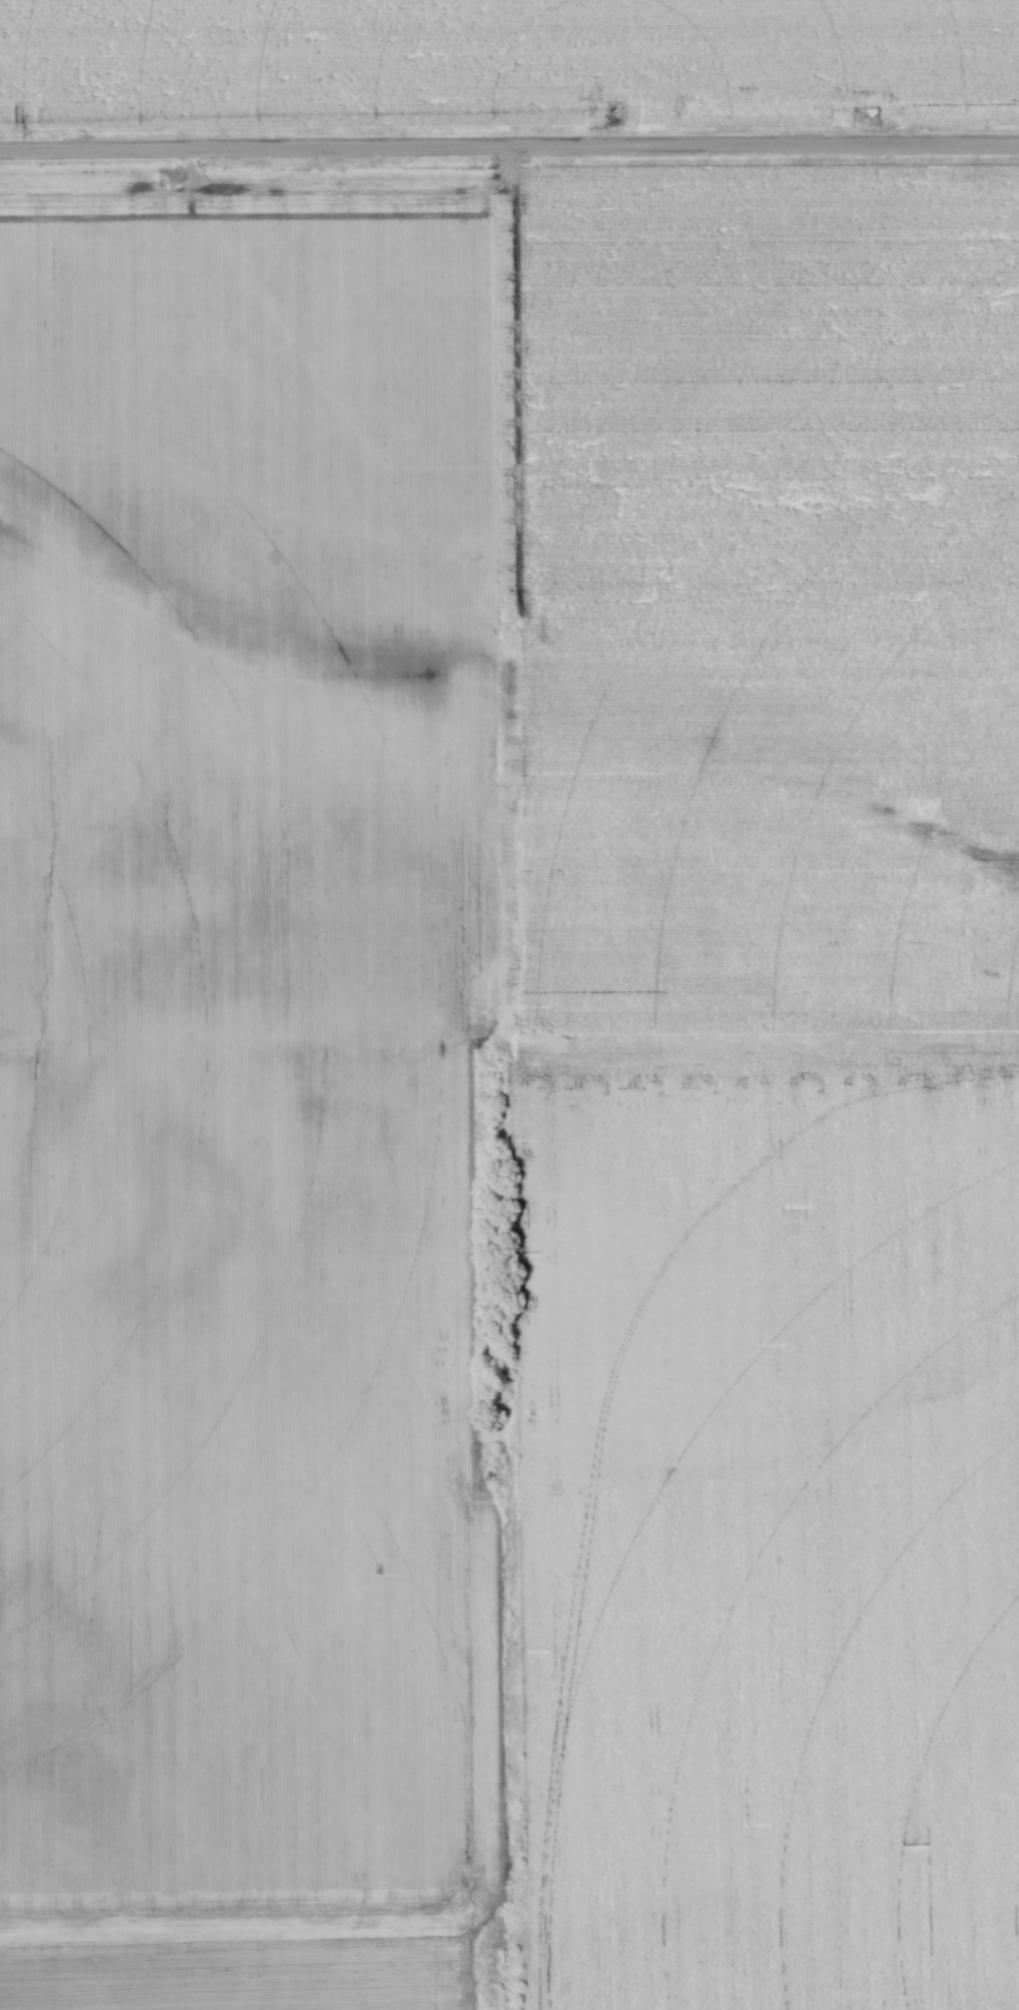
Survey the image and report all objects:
road: (509, 149)

